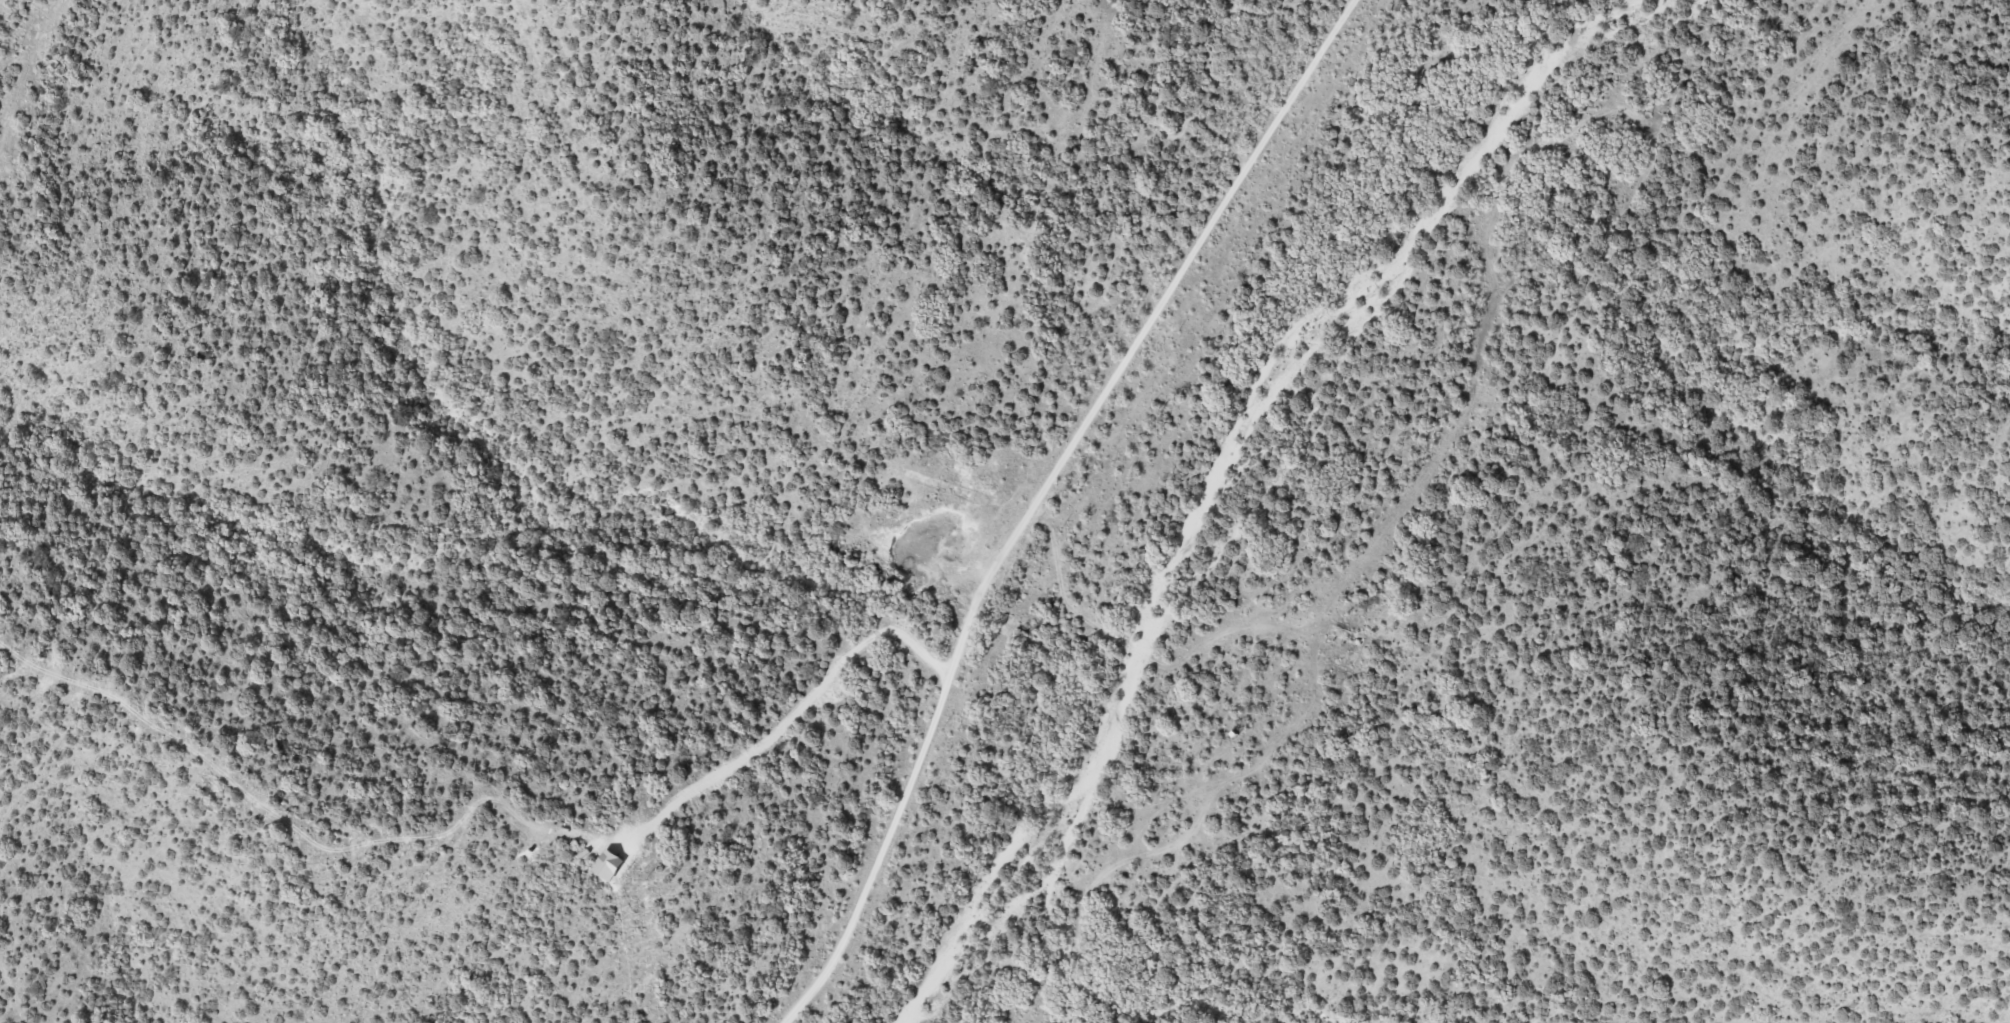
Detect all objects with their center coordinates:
road: (1038, 495)

